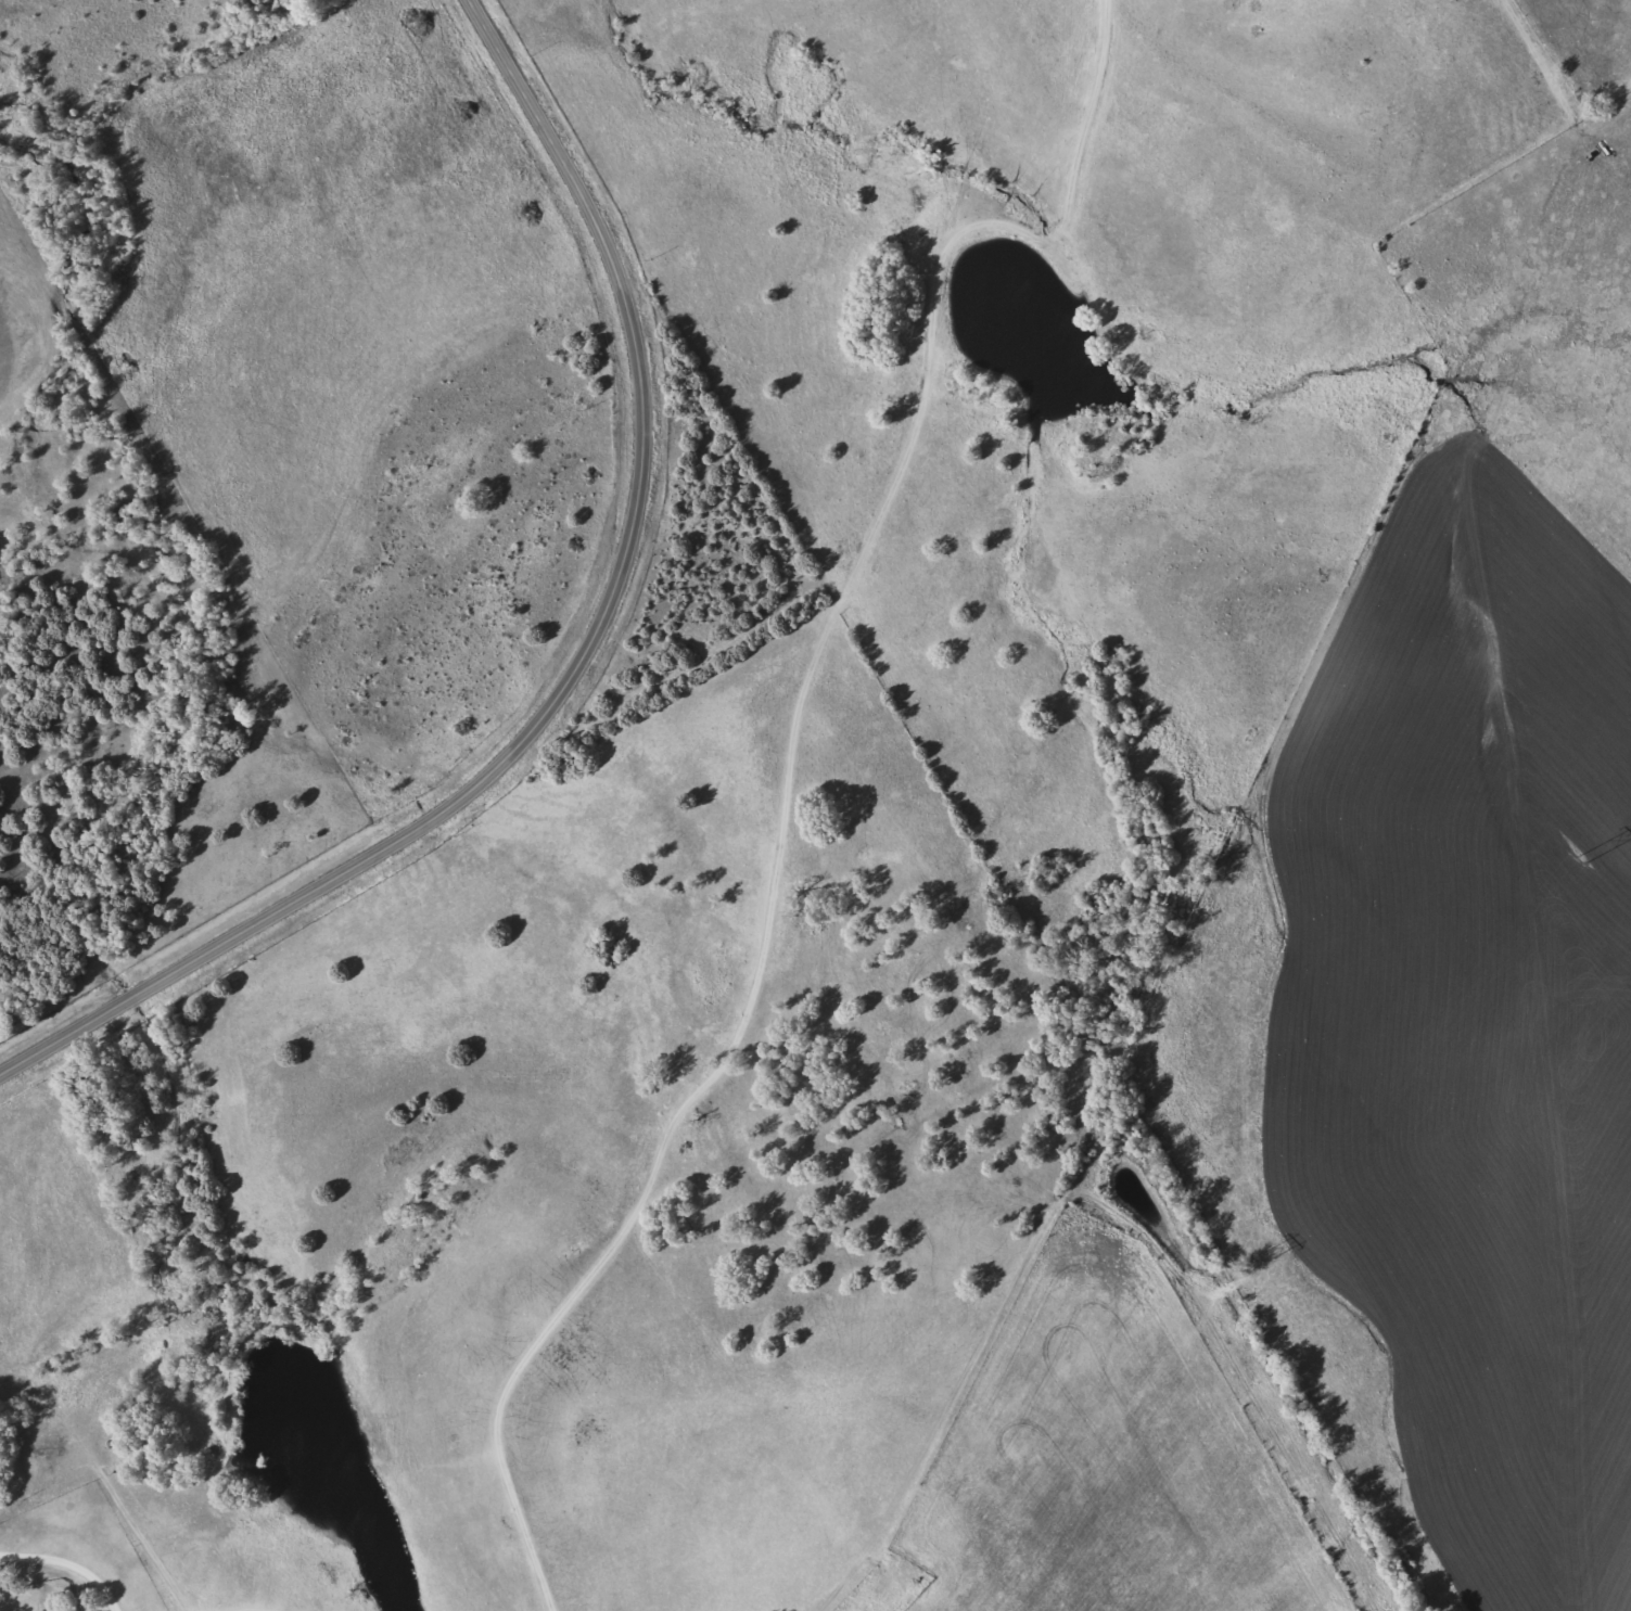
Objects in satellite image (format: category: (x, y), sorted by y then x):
road: (773, 554)
road: (585, 667)
power tower: (1582, 857)
power tower: (1246, 1265)
road: (46, 1573)
building: (41, 1610)

